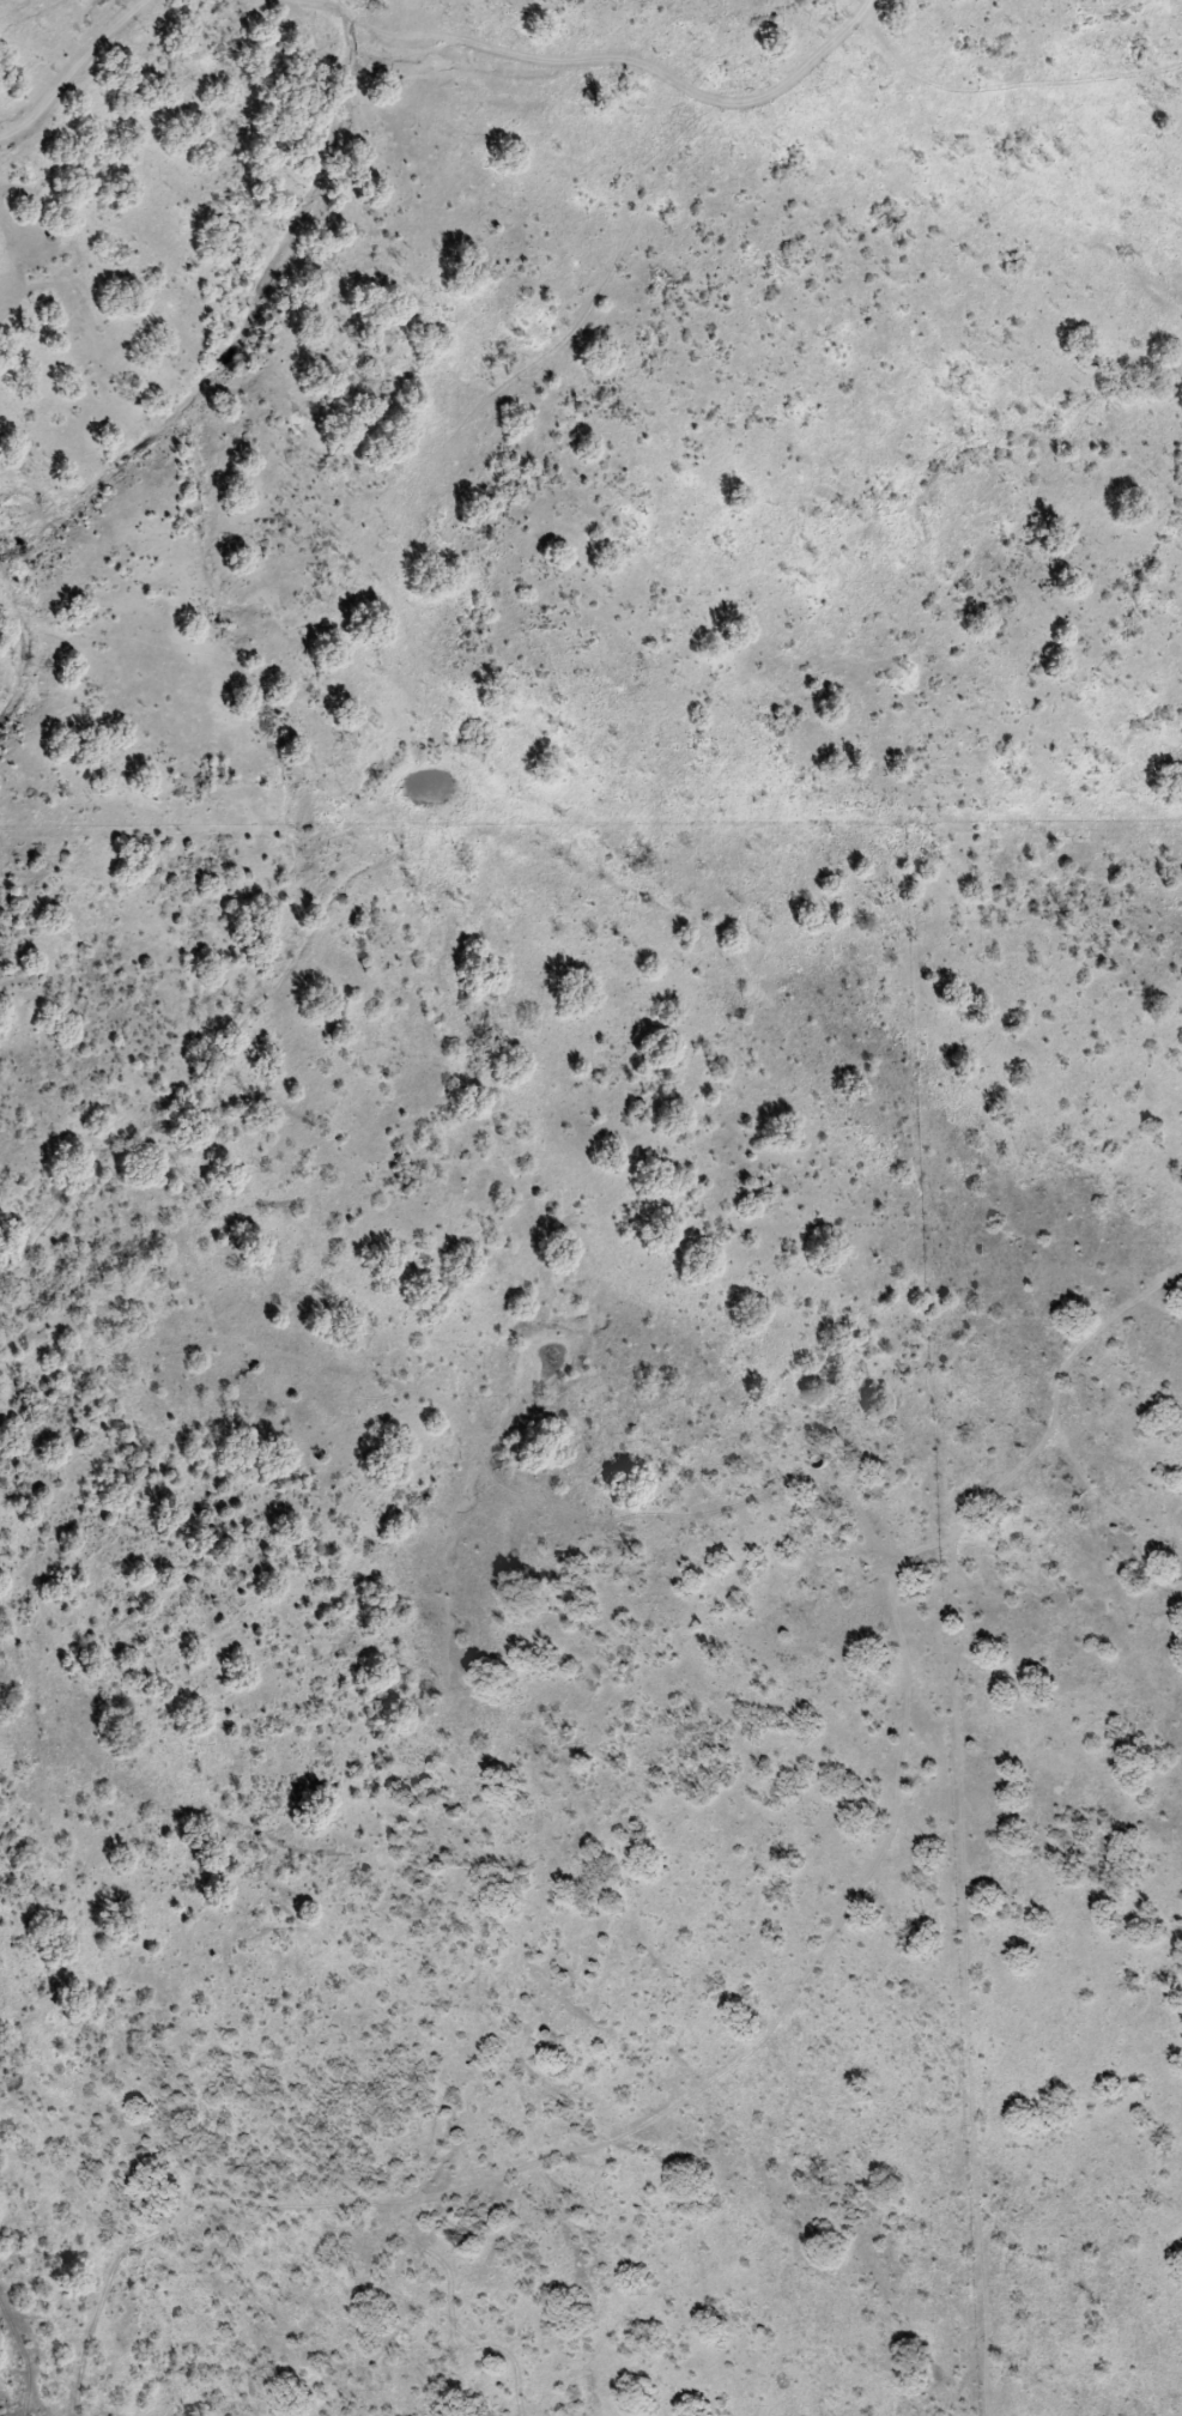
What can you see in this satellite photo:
road: (612, 59)
road: (84, 63)

